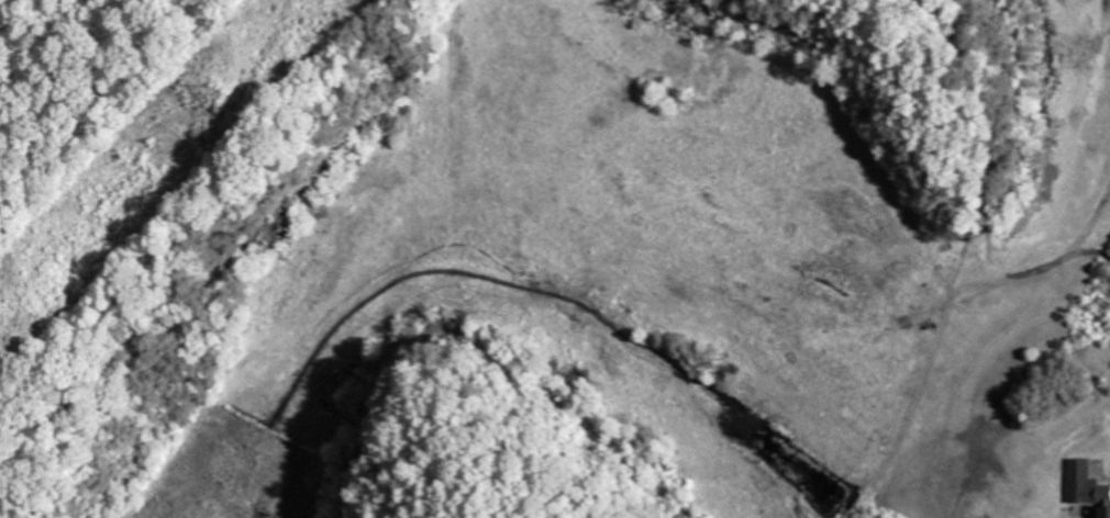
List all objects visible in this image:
building: (1089, 488)

